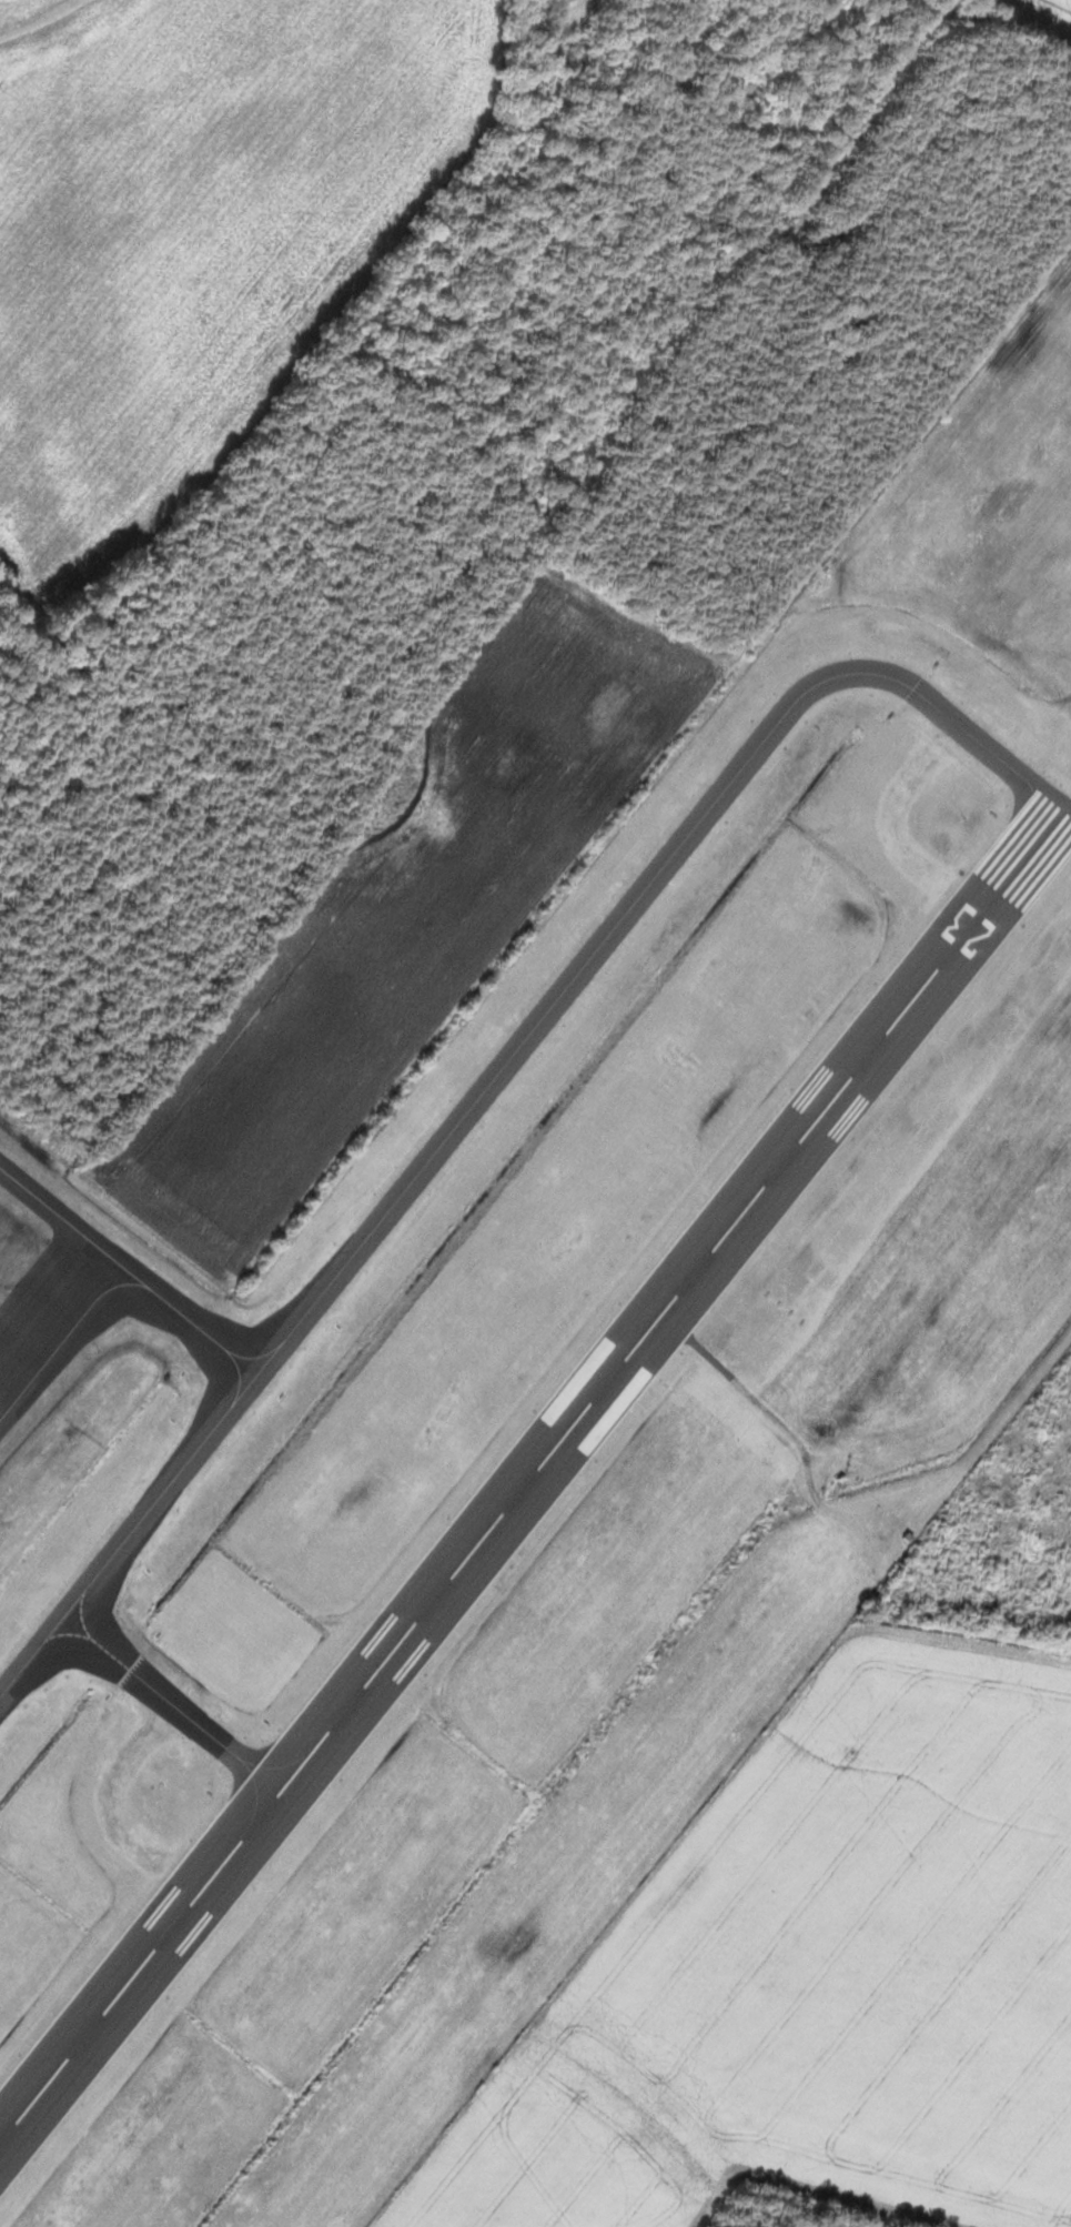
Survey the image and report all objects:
airport taxiway: (499, 1072)
airport: (566, 1388)
airport runway: (535, 1480)
airport taxiway: (165, 1695)
airport taxiway: (115, 1808)

